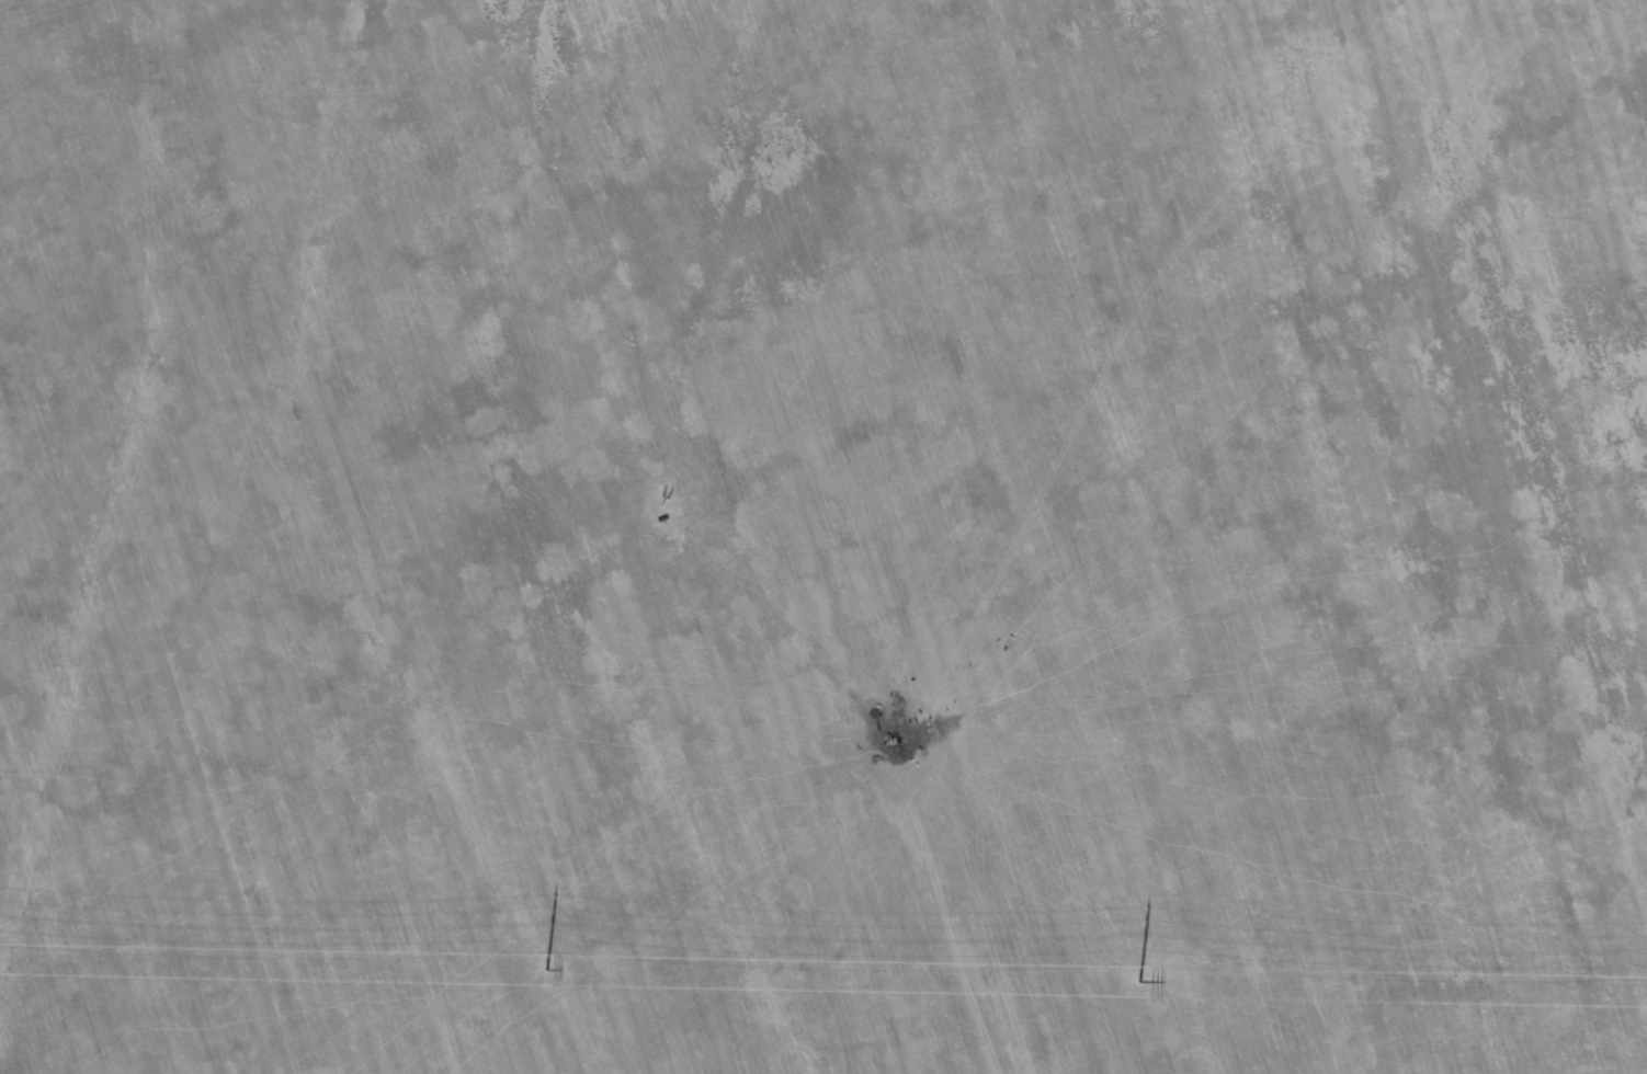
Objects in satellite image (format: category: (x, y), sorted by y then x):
power tower: (545, 968)
power tower: (1140, 980)

